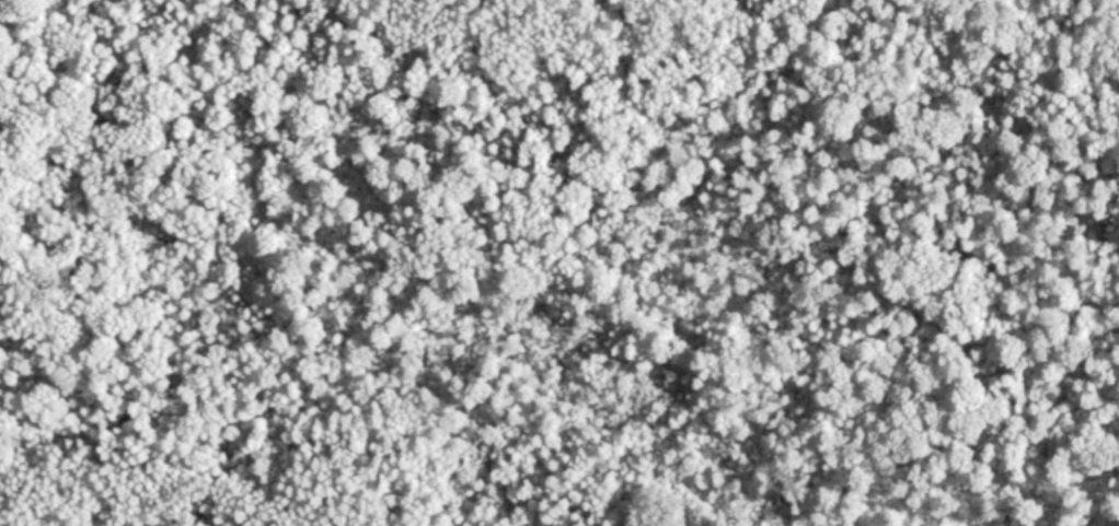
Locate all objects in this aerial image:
park: (559, 262)

